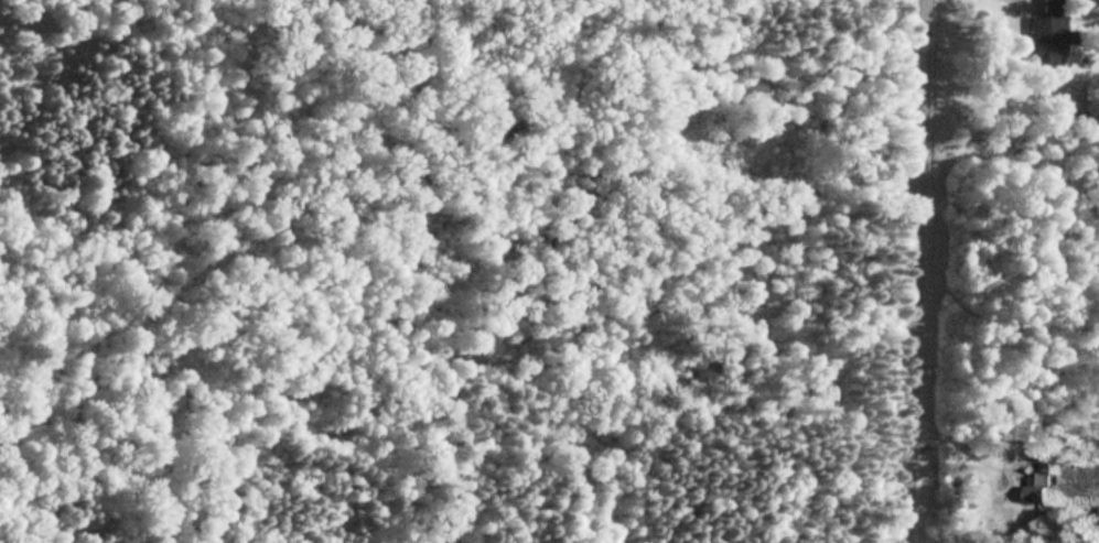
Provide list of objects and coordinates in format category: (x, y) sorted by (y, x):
building: (1045, 30)
park: (515, 268)
road: (912, 271)
building: (1020, 424)
building: (1039, 475)

